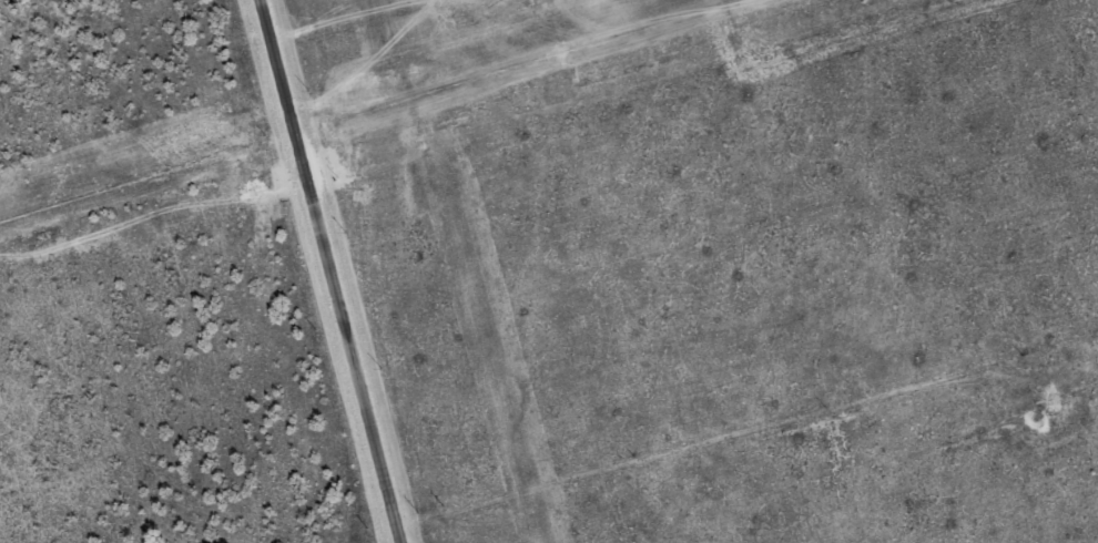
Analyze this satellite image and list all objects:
road: (328, 271)

